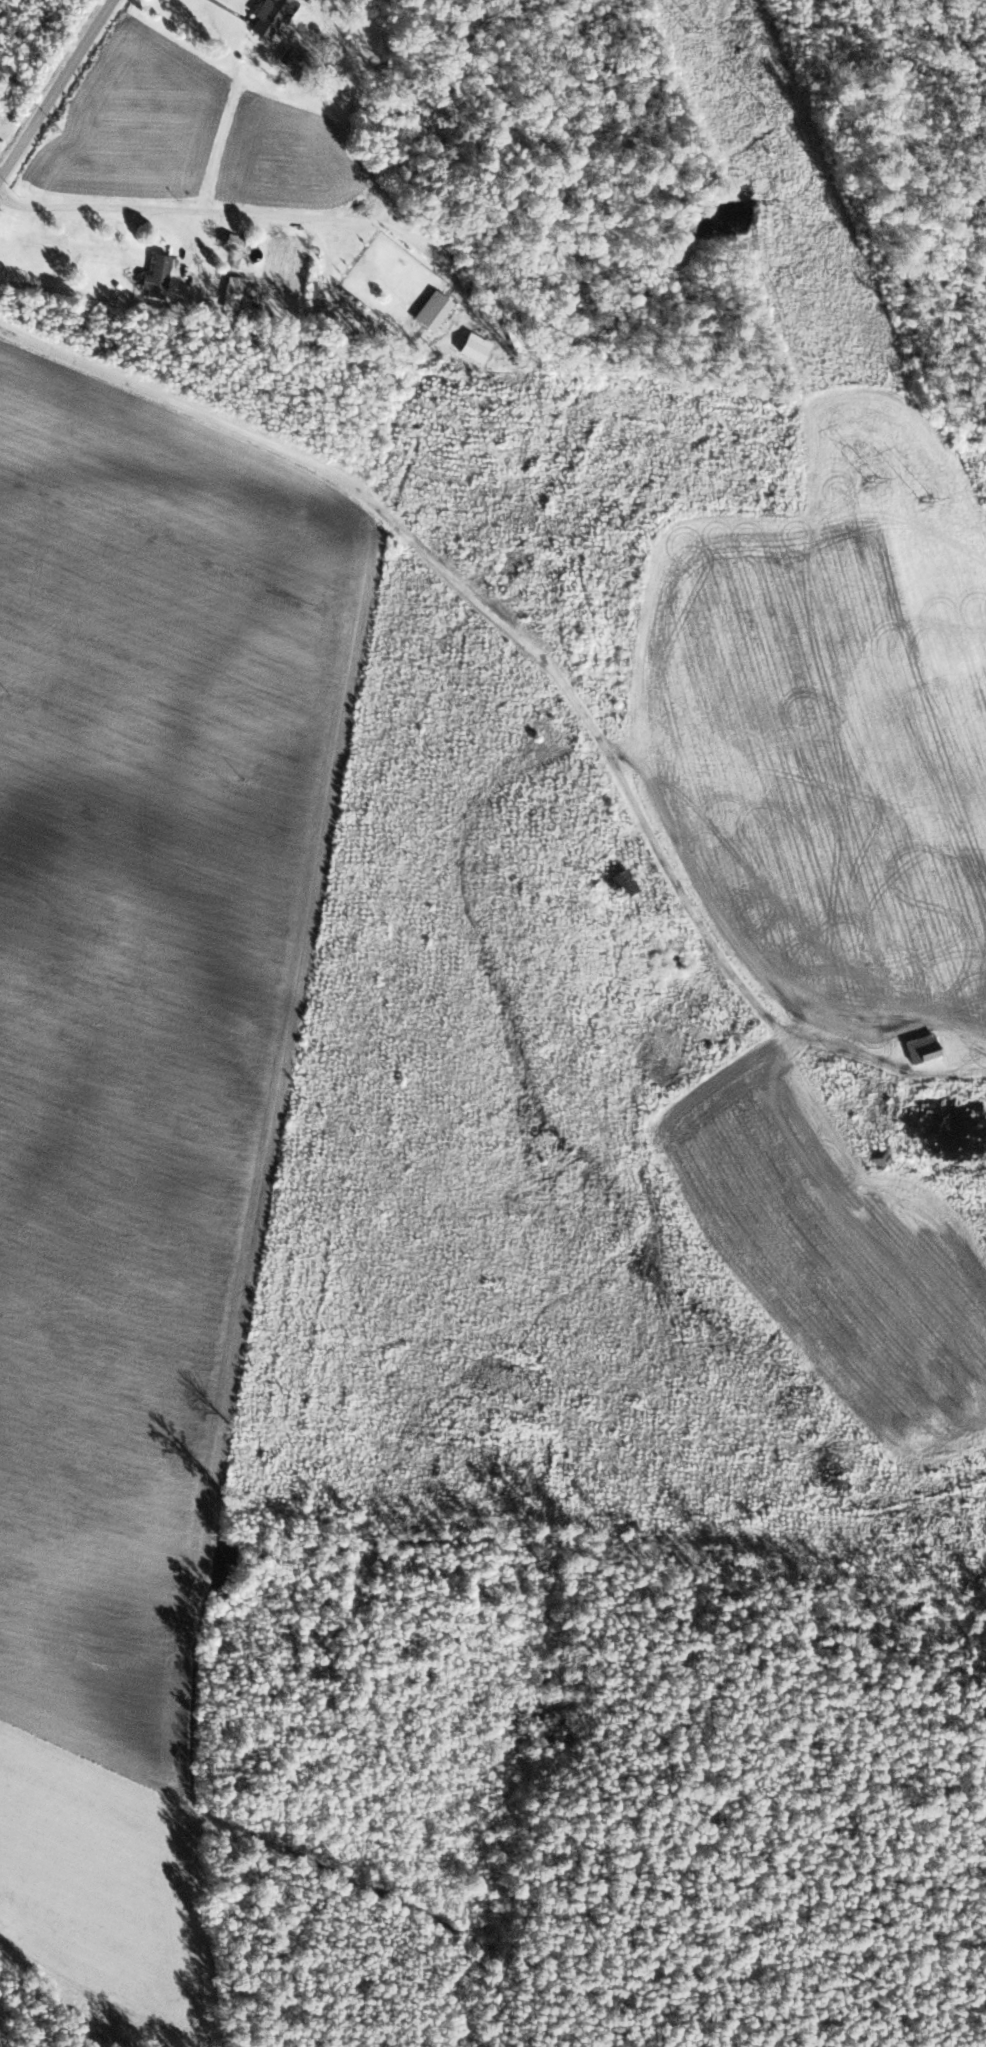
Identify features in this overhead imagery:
building: (269, 15)
power tower: (692, 29)
building: (287, 58)
power tower: (768, 103)
road: (76, 118)
building: (156, 277)
building: (231, 293)
power tower: (871, 473)
power tower: (927, 499)
road: (563, 698)
building: (624, 883)
building: (922, 1049)
building: (876, 1160)

